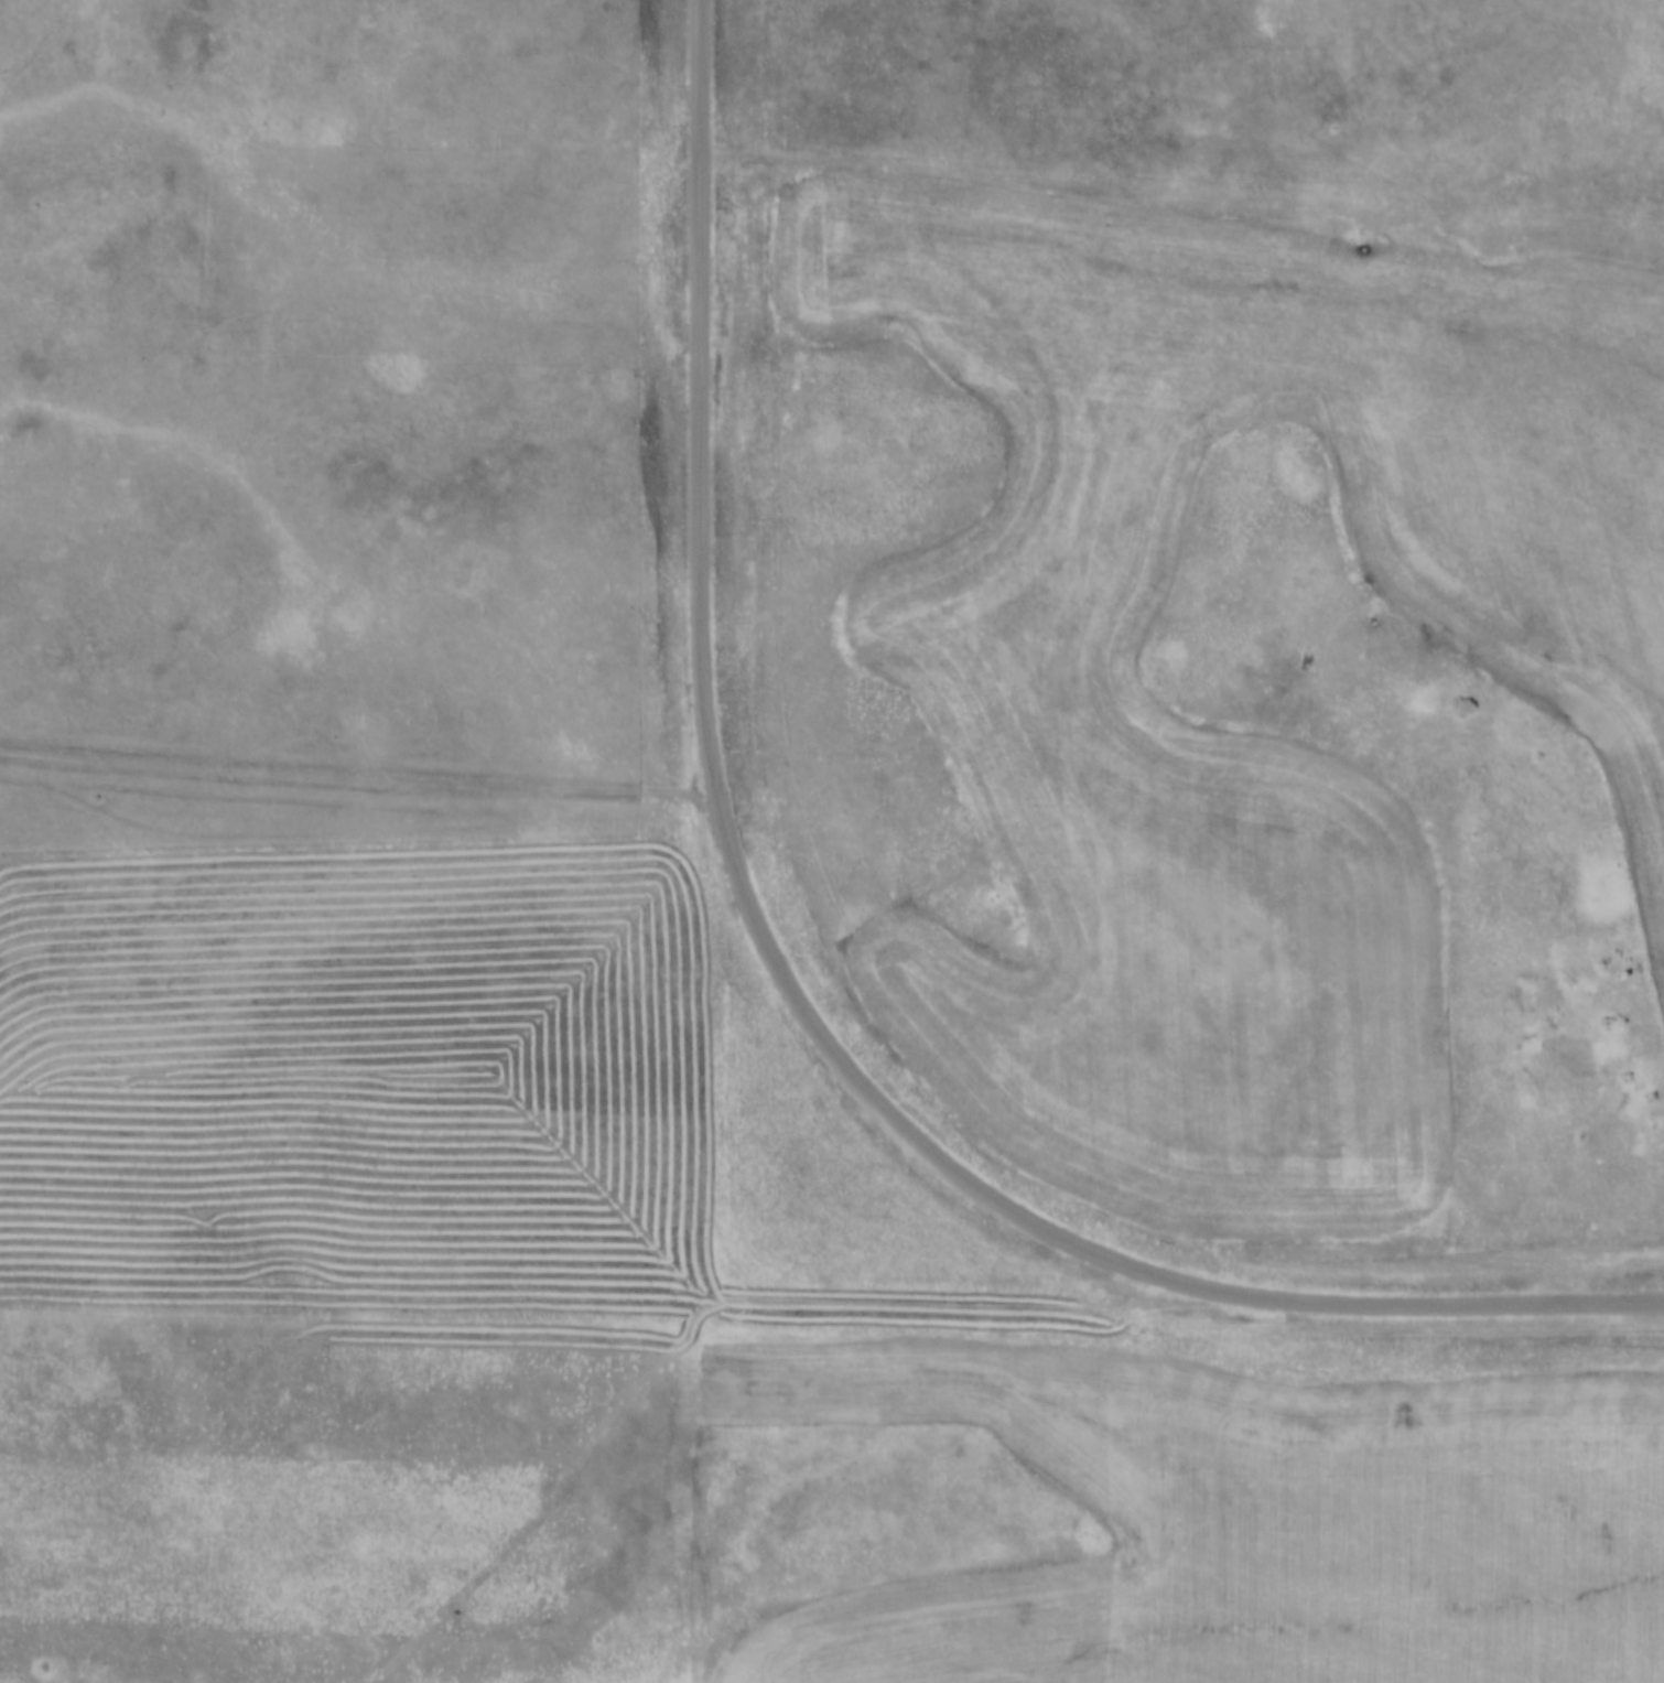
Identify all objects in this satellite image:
road: (357, 776)
road: (784, 983)

